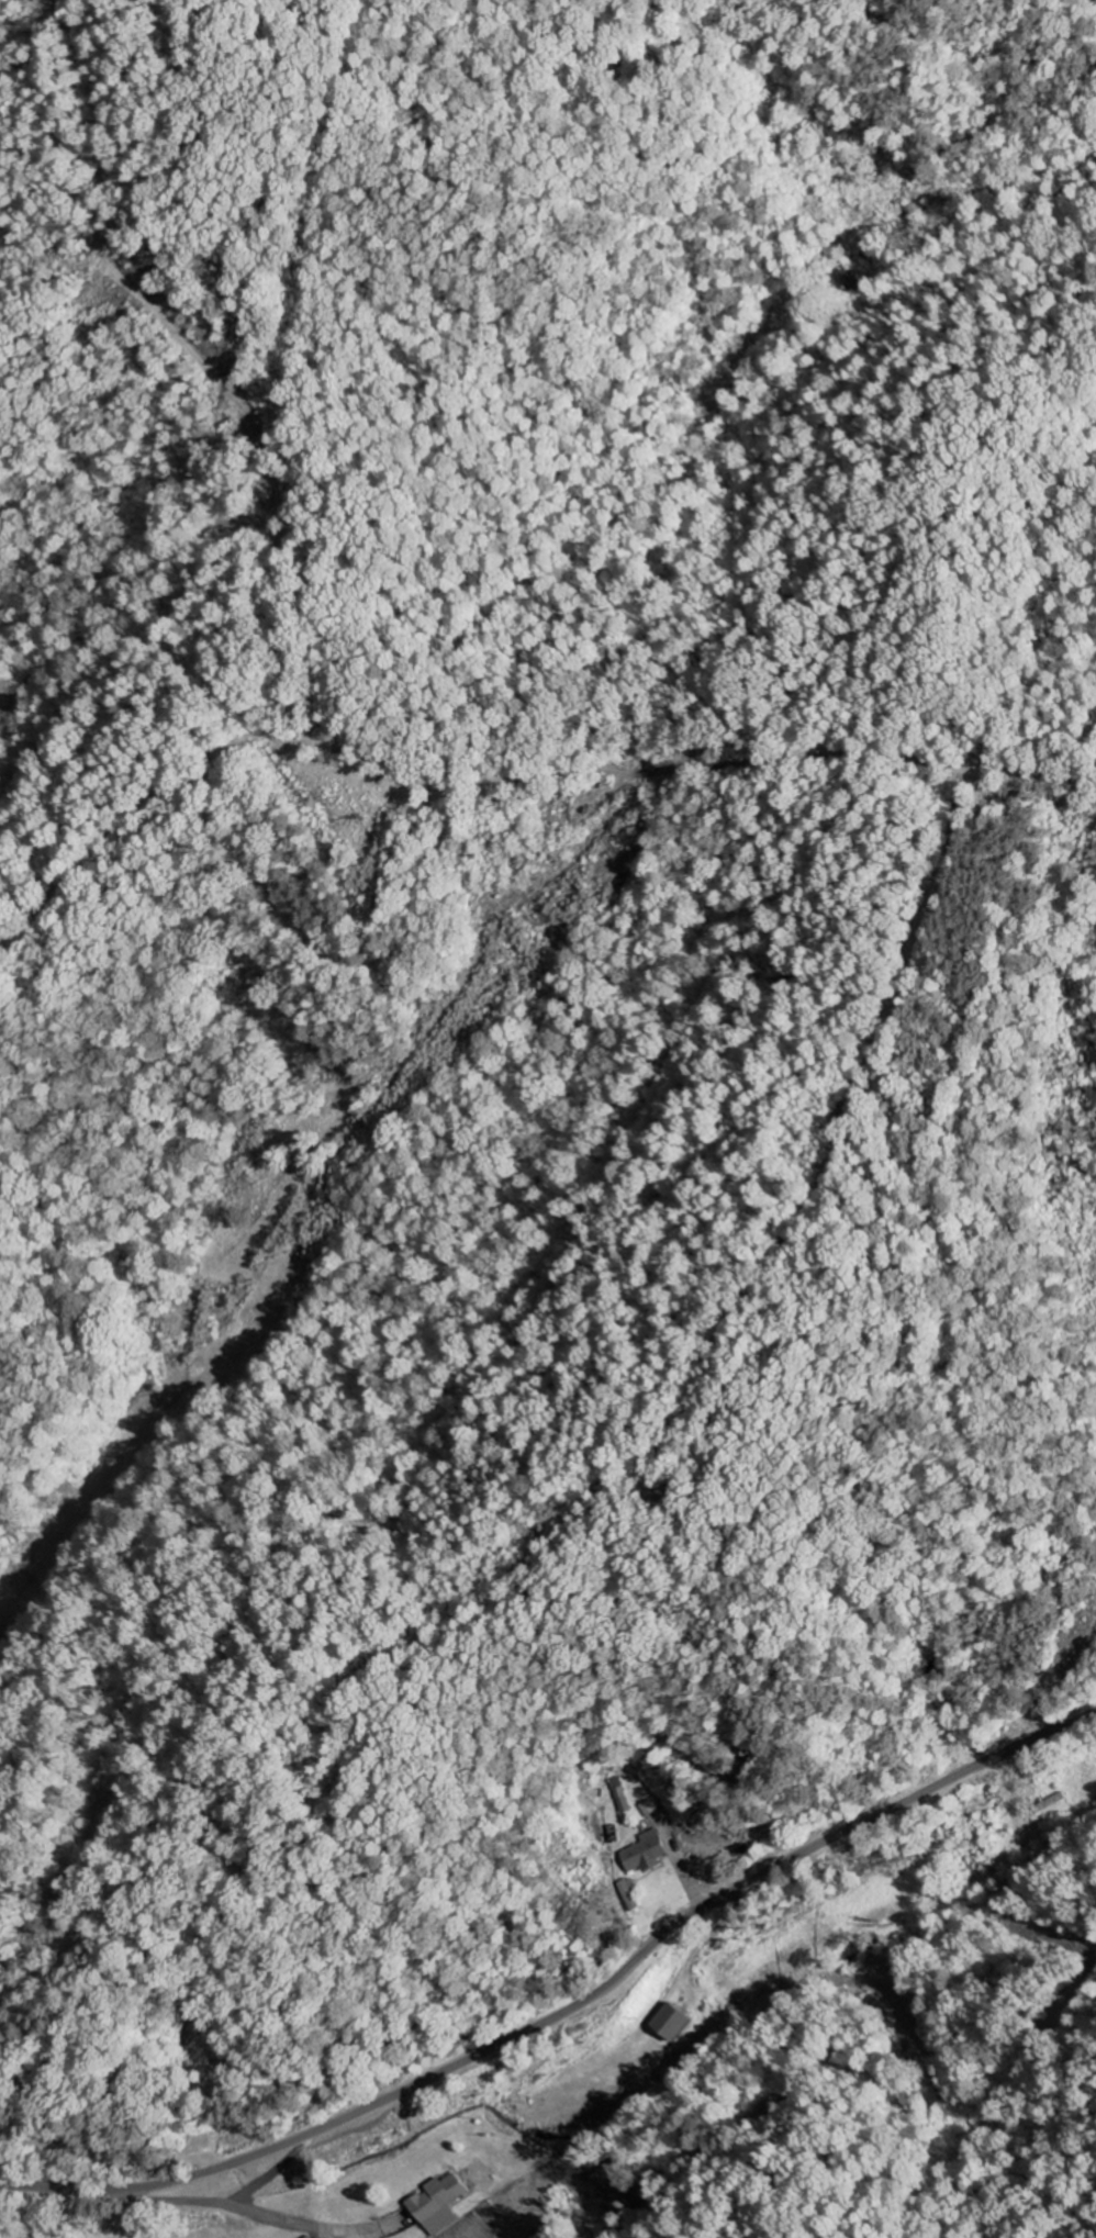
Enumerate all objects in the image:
road: (1049, 45)
road: (781, 152)
road: (973, 540)
building: (650, 1808)
building: (650, 1853)
road: (570, 2008)
building: (678, 2022)
park: (10, 2083)
road: (111, 2160)
building: (438, 2203)

